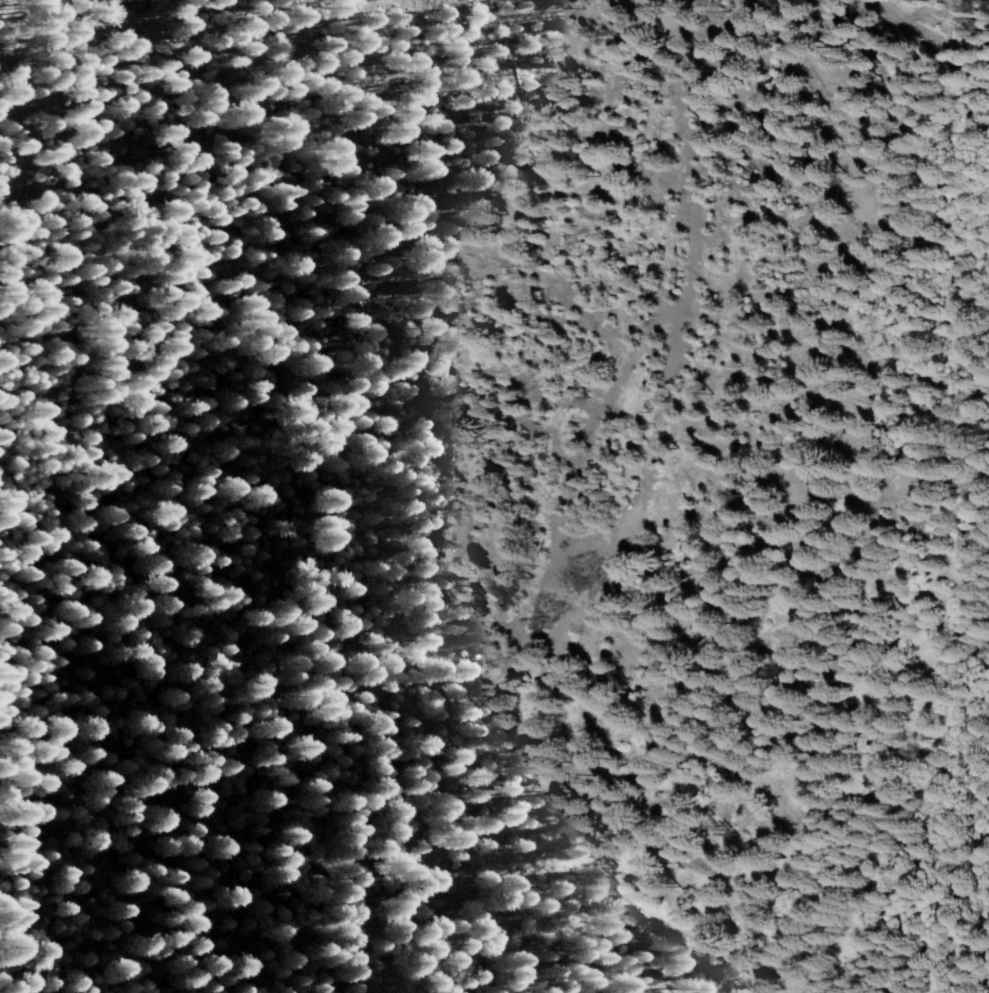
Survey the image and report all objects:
road: (130, 20)

